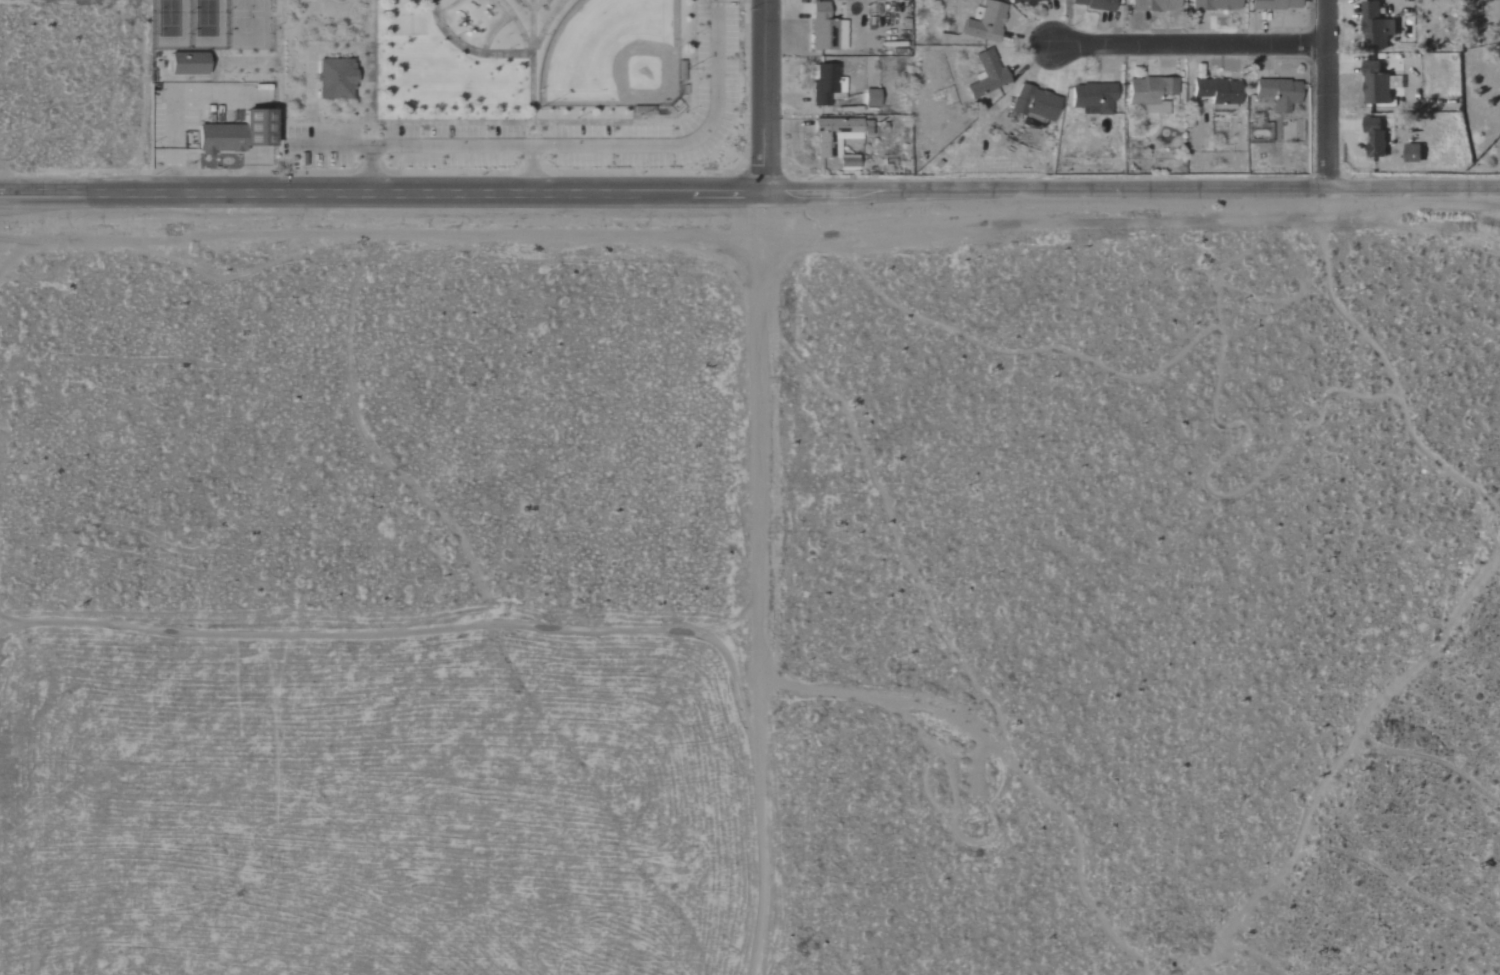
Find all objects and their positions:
building: (1025, 1)
building: (1097, 4)
road: (526, 5)
building: (1217, 5)
building: (1277, 5)
road: (537, 6)
building: (1156, 6)
road: (325, 11)
road: (346, 21)
park: (170, 23)
park: (207, 23)
road: (299, 23)
road: (517, 23)
building: (987, 23)
road: (548, 24)
park: (247, 25)
building: (1378, 27)
building: (828, 30)
road: (289, 45)
road: (1197, 46)
road: (468, 50)
park: (612, 56)
road: (532, 60)
building: (190, 64)
building: (989, 75)
building: (334, 78)
park: (478, 82)
building: (825, 84)
building: (1377, 84)
building: (1220, 91)
road: (1325, 93)
building: (1153, 94)
building: (1280, 94)
road: (765, 96)
building: (1095, 98)
building: (872, 99)
building: (1036, 105)
road: (278, 107)
road: (526, 122)
parking lot: (557, 128)
building: (239, 134)
building: (836, 136)
building: (1377, 139)
road: (570, 145)
building: (1416, 154)
building: (850, 163)
road: (366, 168)
road: (532, 168)
road: (750, 192)
road: (785, 584)
road: (394, 628)

